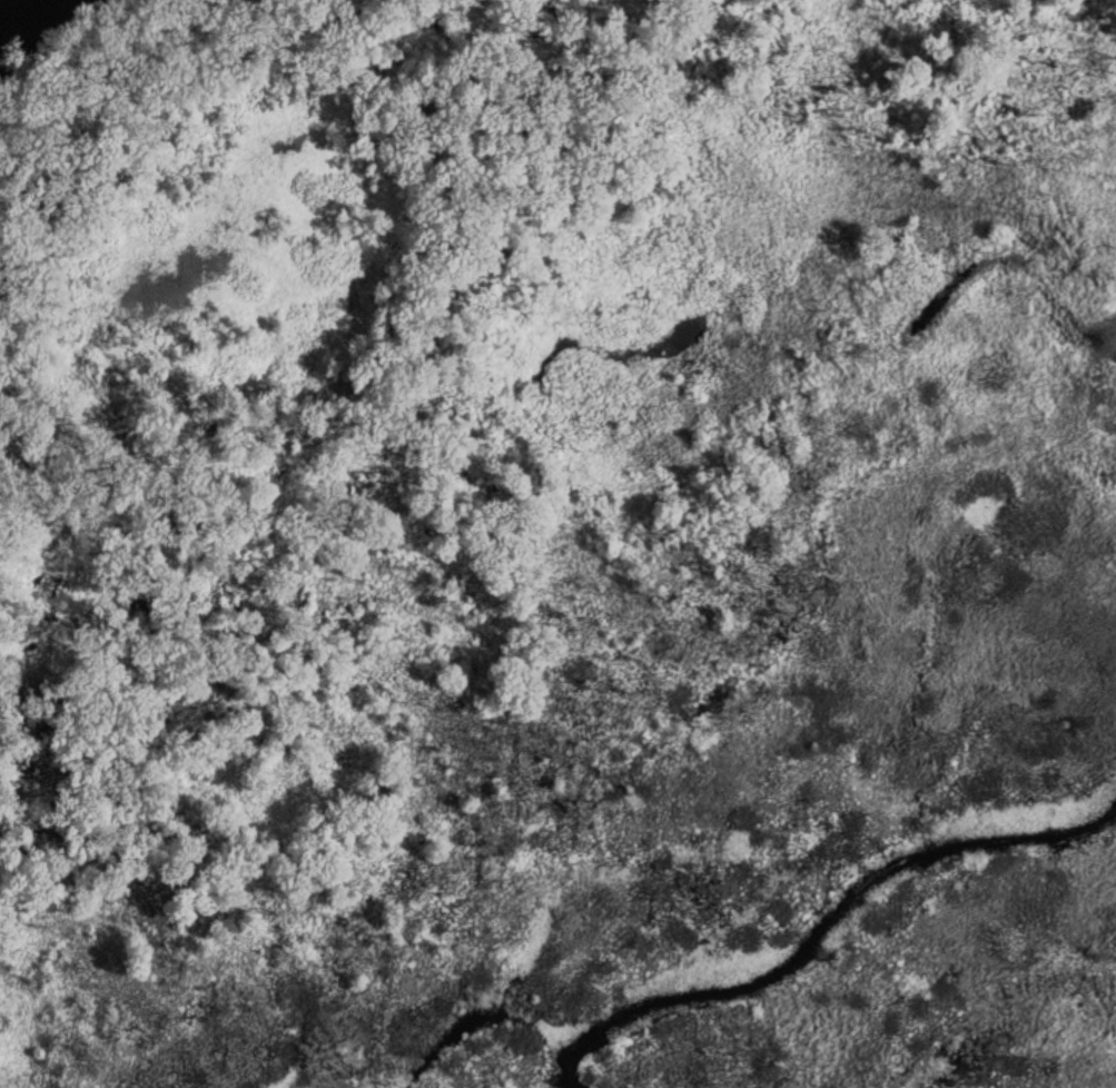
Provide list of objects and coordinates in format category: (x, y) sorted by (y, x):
river: (8, 6)

